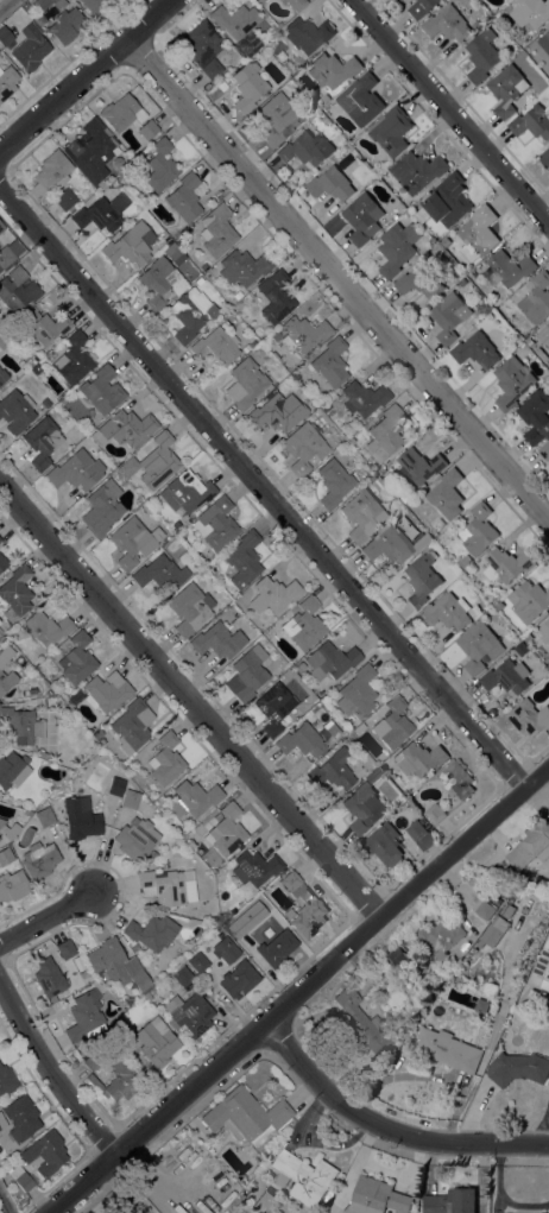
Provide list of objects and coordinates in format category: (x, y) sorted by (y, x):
building: (261, 0)
building: (412, 0)
building: (42, 2)
road: (5, 4)
building: (296, 4)
building: (26, 5)
building: (94, 5)
building: (421, 7)
building: (530, 13)
building: (235, 20)
building: (446, 24)
building: (65, 25)
building: (475, 25)
building: (308, 34)
building: (6, 38)
building: (544, 43)
building: (30, 48)
building: (202, 48)
building: (481, 56)
building: (333, 70)
road: (86, 75)
building: (7, 81)
building: (247, 86)
building: (506, 90)
building: (360, 100)
building: (119, 112)
road: (448, 113)
building: (277, 118)
building: (301, 120)
building: (531, 122)
building: (147, 128)
building: (390, 131)
building: (91, 150)
building: (307, 150)
building: (544, 159)
building: (160, 165)
building: (417, 171)
building: (49, 172)
building: (330, 184)
building: (184, 197)
building: (64, 198)
building: (447, 201)
building: (101, 211)
building: (362, 219)
building: (1, 226)
building: (217, 230)
building: (477, 233)
building: (163, 234)
building: (131, 244)
building: (397, 248)
building: (10, 252)
building: (171, 252)
building: (204, 266)
building: (244, 266)
building: (507, 268)
road: (337, 278)
building: (200, 280)
building: (156, 282)
building: (421, 282)
building: (17, 290)
building: (238, 295)
building: (277, 298)
building: (536, 299)
building: (191, 312)
building: (448, 316)
building: (44, 327)
building: (1, 328)
building: (303, 333)
building: (544, 336)
building: (2, 343)
building: (217, 345)
building: (276, 347)
building: (475, 350)
building: (72, 359)
building: (330, 361)
building: (36, 368)
building: (2, 375)
building: (512, 383)
building: (246, 384)
building: (102, 390)
building: (364, 397)
building: (45, 403)
building: (15, 411)
building: (270, 415)
building: (535, 417)
building: (124, 428)
building: (385, 434)
building: (42, 441)
building: (303, 448)
building: (544, 451)
building: (153, 461)
building: (419, 466)
building: (76, 470)
building: (381, 472)
building: (333, 482)
road: (263, 489)
building: (187, 491)
building: (447, 494)
building: (404, 499)
building: (102, 507)
building: (362, 514)
building: (215, 523)
building: (478, 530)
building: (0, 538)
building: (133, 541)
building: (392, 544)
building: (244, 558)
building: (2, 562)
building: (465, 562)
building: (505, 566)
building: (160, 573)
building: (421, 580)
building: (15, 593)
building: (273, 594)
building: (530, 601)
building: (188, 608)
building: (447, 612)
building: (303, 624)
building: (46, 627)
building: (545, 628)
building: (217, 640)
building: (548, 644)
building: (479, 647)
building: (520, 649)
building: (5, 655)
building: (76, 658)
building: (330, 661)
building: (299, 666)
building: (247, 672)
building: (506, 677)
building: (6, 680)
building: (106, 690)
building: (356, 693)
road: (190, 700)
building: (52, 701)
building: (548, 702)
building: (274, 707)
building: (529, 718)
building: (391, 724)
building: (21, 725)
building: (132, 726)
building: (334, 728)
building: (97, 733)
building: (301, 740)
building: (42, 754)
building: (165, 759)
building: (418, 759)
building: (12, 770)
building: (332, 770)
building: (373, 775)
building: (456, 781)
building: (115, 785)
building: (193, 798)
building: (137, 802)
building: (362, 808)
building: (435, 814)
building: (44, 816)
building: (81, 817)
building: (8, 829)
building: (226, 830)
building: (419, 835)
building: (135, 839)
building: (384, 845)
building: (531, 846)
building: (152, 854)
building: (5, 855)
building: (39, 859)
building: (254, 867)
building: (292, 883)
building: (13, 885)
building: (168, 889)
building: (485, 911)
building: (507, 911)
road: (45, 917)
building: (309, 917)
building: (235, 920)
building: (152, 931)
building: (493, 933)
building: (212, 935)
building: (440, 939)
building: (134, 947)
building: (277, 948)
building: (65, 949)
building: (225, 949)
building: (193, 954)
building: (111, 959)
building: (397, 959)
building: (196, 961)
building: (541, 969)
building: (176, 972)
building: (48, 977)
building: (239, 979)
building: (140, 980)
road: (298, 990)
building: (481, 1006)
building: (83, 1013)
building: (193, 1016)
building: (362, 1022)
building: (115, 1023)
building: (156, 1042)
building: (447, 1050)
building: (517, 1069)
road: (50, 1072)
building: (135, 1079)
building: (7, 1080)
building: (245, 1116)
building: (20, 1117)
building: (1, 1123)
road: (389, 1123)
building: (45, 1152)
building: (18, 1176)
building: (303, 1177)
road: (122, 1189)
building: (376, 1198)
road: (498, 1200)
building: (265, 1201)
road: (5, 1202)
building: (450, 1202)
building: (239, 1211)

